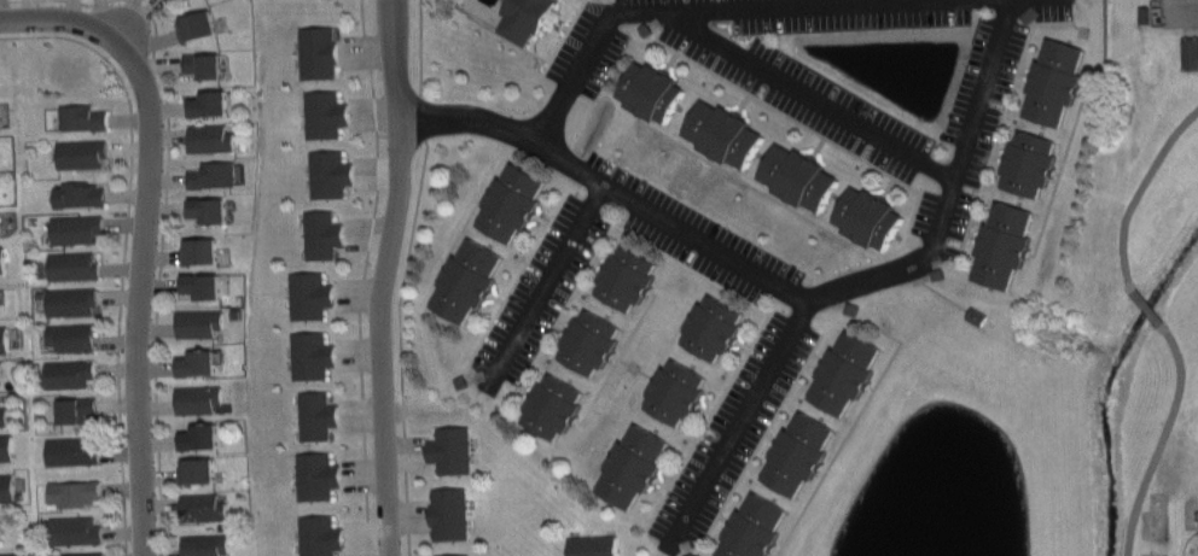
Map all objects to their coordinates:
building: (170, 0)
road: (88, 4)
road: (609, 4)
road: (680, 6)
building: (1029, 13)
road: (60, 17)
building: (525, 17)
building: (193, 22)
building: (645, 29)
road: (566, 30)
road: (513, 41)
building: (319, 52)
road: (670, 60)
building: (199, 62)
road: (420, 70)
road: (1025, 72)
building: (1055, 82)
road: (987, 86)
road: (815, 89)
building: (653, 92)
building: (205, 101)
road: (743, 101)
building: (326, 115)
road: (787, 115)
building: (82, 117)
road: (1002, 118)
building: (723, 133)
building: (207, 135)
road: (818, 146)
building: (82, 153)
road: (998, 153)
road: (711, 158)
building: (1029, 164)
road: (1055, 171)
building: (209, 172)
building: (330, 174)
road: (1058, 174)
building: (799, 176)
road: (746, 182)
road: (888, 186)
building: (80, 194)
building: (512, 201)
road: (785, 201)
building: (204, 207)
road: (914, 209)
building: (870, 216)
road: (542, 220)
road: (464, 224)
road: (607, 228)
building: (76, 229)
building: (322, 234)
road: (972, 235)
road: (704, 239)
building: (1004, 244)
road: (123, 247)
building: (196, 248)
building: (2, 259)
road: (599, 261)
building: (72, 267)
road: (158, 269)
building: (937, 274)
road: (362, 276)
road: (516, 276)
building: (630, 276)
road: (383, 277)
road: (920, 277)
building: (469, 279)
road: (548, 279)
building: (197, 282)
road: (138, 293)
building: (309, 295)
road: (943, 295)
road: (496, 298)
building: (72, 302)
building: (0, 303)
building: (851, 308)
building: (976, 316)
building: (199, 322)
road: (1161, 322)
road: (560, 324)
building: (713, 328)
building: (71, 336)
building: (4, 339)
building: (591, 343)
road: (743, 344)
road: (400, 346)
building: (312, 356)
road: (818, 356)
road: (617, 357)
building: (198, 362)
road: (634, 367)
building: (69, 373)
building: (847, 373)
building: (0, 379)
building: (461, 381)
road: (646, 381)
road: (871, 387)
road: (523, 390)
building: (676, 392)
building: (198, 400)
building: (554, 405)
road: (705, 409)
building: (77, 410)
road: (739, 412)
building: (4, 415)
building: (318, 415)
road: (708, 421)
building: (200, 437)
road: (770, 437)
road: (844, 438)
road: (760, 439)
building: (6, 446)
building: (452, 449)
building: (74, 451)
building: (797, 455)
building: (635, 466)
road: (825, 468)
building: (198, 470)
building: (316, 474)
park: (1151, 482)
road: (663, 484)
building: (7, 486)
building: (75, 492)
building: (203, 507)
building: (450, 511)
road: (723, 517)
building: (755, 528)
building: (75, 529)
building: (0, 531)
building: (320, 535)
building: (204, 544)
building: (592, 545)
road: (778, 549)
building: (81, 552)
park: (1153, 554)
building: (8, 555)
building: (454, 555)
building: (690, 555)

